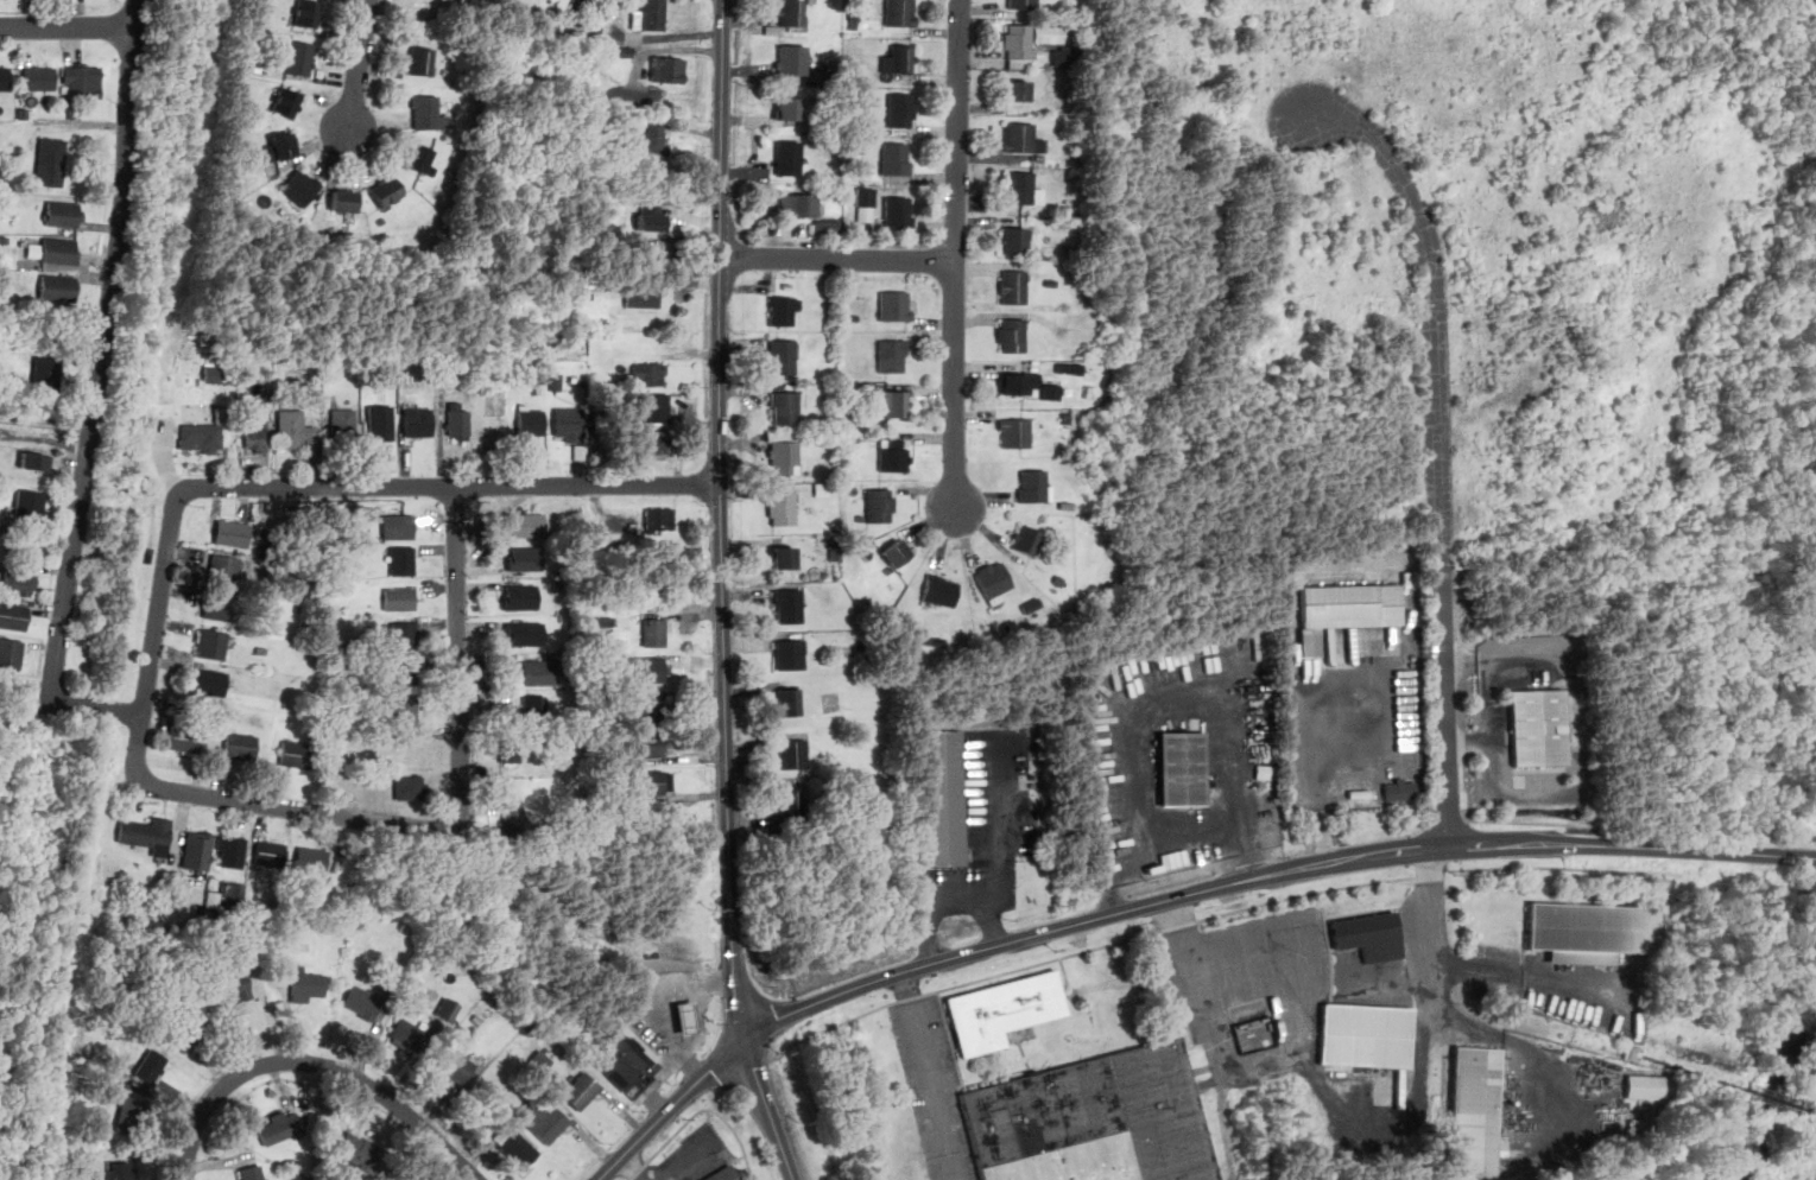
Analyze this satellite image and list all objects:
building: (1023, 4)
building: (790, 12)
building: (899, 12)
building: (308, 13)
building: (648, 14)
road: (68, 28)
building: (1019, 40)
building: (1065, 56)
building: (300, 57)
building: (791, 58)
building: (903, 58)
building: (420, 59)
road: (357, 64)
building: (667, 69)
building: (5, 77)
building: (39, 77)
building: (80, 83)
building: (1017, 89)
building: (287, 102)
building: (787, 107)
building: (901, 109)
building: (426, 113)
building: (654, 137)
building: (1021, 138)
building: (279, 146)
building: (417, 156)
building: (790, 157)
building: (896, 158)
building: (50, 160)
building: (302, 186)
building: (1023, 189)
building: (387, 191)
building: (343, 201)
building: (865, 203)
building: (799, 204)
building: (63, 212)
building: (898, 212)
building: (651, 216)
building: (827, 224)
building: (1015, 239)
building: (61, 250)
road: (956, 253)
building: (648, 254)
road: (839, 259)
building: (58, 286)
building: (1013, 286)
building: (643, 294)
building: (893, 305)
road: (1436, 305)
building: (784, 310)
building: (1012, 335)
road: (103, 351)
building: (783, 355)
building: (892, 355)
building: (1069, 368)
building: (46, 374)
building: (211, 374)
building: (650, 374)
building: (556, 381)
building: (1018, 381)
building: (1051, 391)
building: (896, 401)
building: (786, 406)
building: (654, 407)
building: (343, 419)
building: (457, 420)
building: (380, 421)
building: (418, 421)
building: (531, 421)
road: (46, 423)
building: (569, 423)
building: (295, 429)
building: (1017, 432)
building: (257, 434)
building: (201, 438)
building: (653, 442)
building: (784, 448)
building: (893, 455)
building: (36, 461)
road: (458, 484)
building: (1032, 484)
building: (31, 505)
building: (880, 505)
building: (782, 508)
building: (660, 518)
road: (721, 521)
building: (526, 524)
building: (399, 526)
building: (232, 533)
building: (1027, 539)
building: (897, 552)
building: (784, 557)
building: (524, 558)
building: (401, 560)
building: (224, 569)
building: (994, 581)
building: (18, 582)
building: (652, 590)
building: (941, 590)
building: (520, 596)
building: (399, 597)
building: (787, 604)
building: (217, 607)
building: (1346, 610)
building: (13, 615)
building: (605, 628)
building: (654, 632)
building: (525, 634)
building: (404, 635)
building: (210, 642)
road: (458, 646)
building: (11, 653)
building: (790, 654)
building: (651, 668)
building: (540, 672)
building: (400, 673)
road: (1494, 677)
building: (208, 680)
building: (789, 700)
road: (145, 703)
building: (534, 706)
building: (648, 706)
road: (1156, 708)
road: (1445, 708)
road: (97, 709)
building: (400, 709)
building: (1539, 728)
building: (184, 738)
building: (647, 743)
building: (241, 744)
building: (510, 748)
building: (295, 753)
building: (792, 753)
building: (1183, 769)
road: (1494, 773)
building: (652, 781)
building: (410, 787)
building: (1400, 789)
building: (943, 798)
building: (790, 801)
road: (1322, 808)
building: (512, 816)
road: (1457, 820)
road: (381, 821)
road: (1535, 821)
building: (148, 832)
road: (998, 842)
road: (1535, 844)
building: (197, 850)
building: (230, 851)
building: (268, 854)
building: (310, 858)
road: (1563, 869)
road: (1435, 873)
building: (228, 894)
road: (1286, 897)
road: (935, 901)
road: (1430, 928)
building: (1593, 932)
building: (1372, 935)
road: (995, 947)
road: (1519, 975)
building: (306, 984)
building: (234, 985)
road: (960, 986)
building: (362, 1002)
road: (658, 1005)
building: (448, 1009)
building: (1004, 1011)
building: (686, 1020)
building: (189, 1024)
building: (409, 1033)
building: (1367, 1036)
road: (1217, 1041)
traffic signals: (747, 1043)
building: (1635, 1053)
building: (625, 1060)
gas station: (625, 1060)
road: (315, 1064)
building: (456, 1064)
road: (761, 1064)
building: (151, 1065)
road: (928, 1076)
road: (659, 1083)
building: (1645, 1086)
building: (582, 1090)
river: (1777, 1100)
road: (671, 1108)
road: (768, 1111)
building: (1474, 1112)
building: (127, 1115)
road: (1393, 1116)
building: (545, 1121)
building: (1094, 1121)
building: (278, 1125)
road: (671, 1141)
road: (741, 1141)
building: (517, 1147)
building: (360, 1149)
building: (121, 1171)
building: (252, 1172)
building: (722, 1173)

